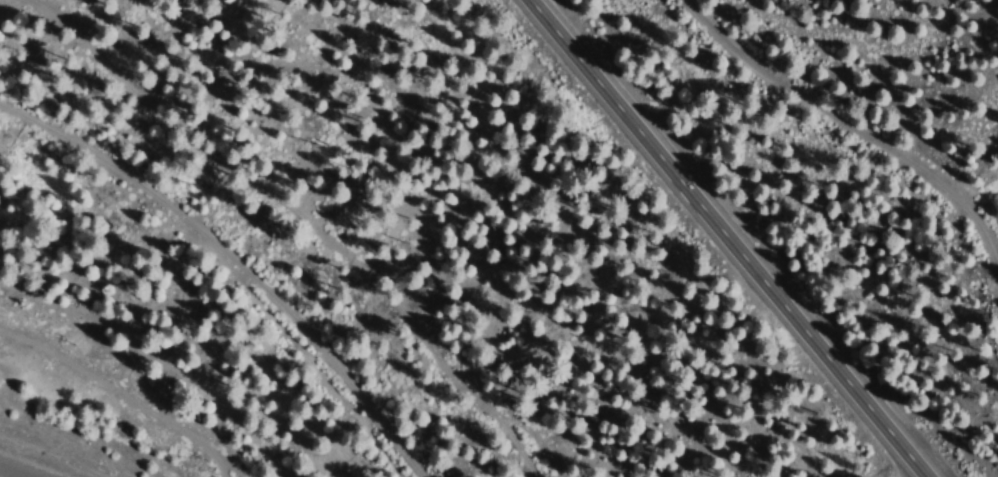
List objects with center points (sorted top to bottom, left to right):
road: (839, 123)
road: (720, 238)
railway: (221, 269)
road: (134, 393)

